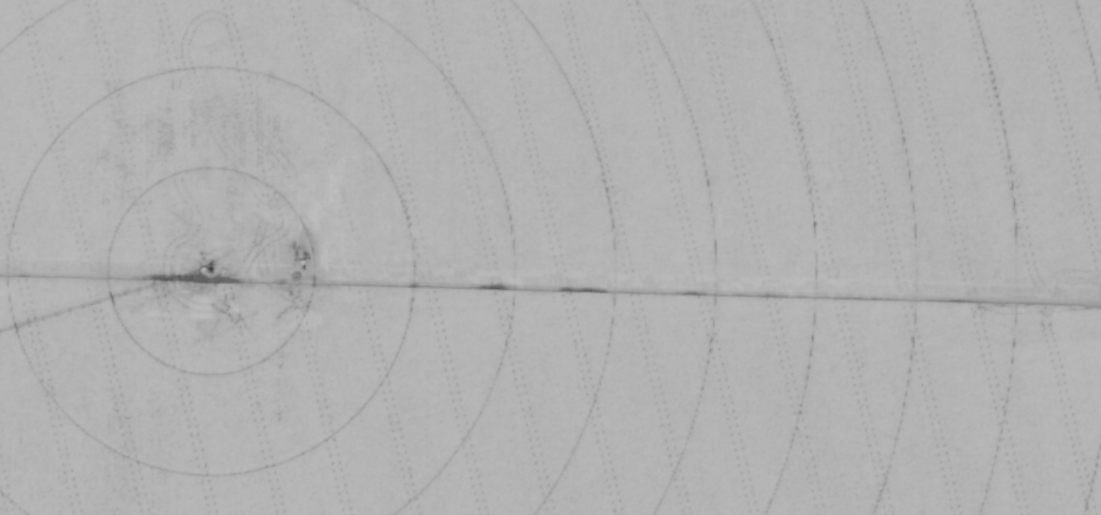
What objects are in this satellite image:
crop: (550, 257)

